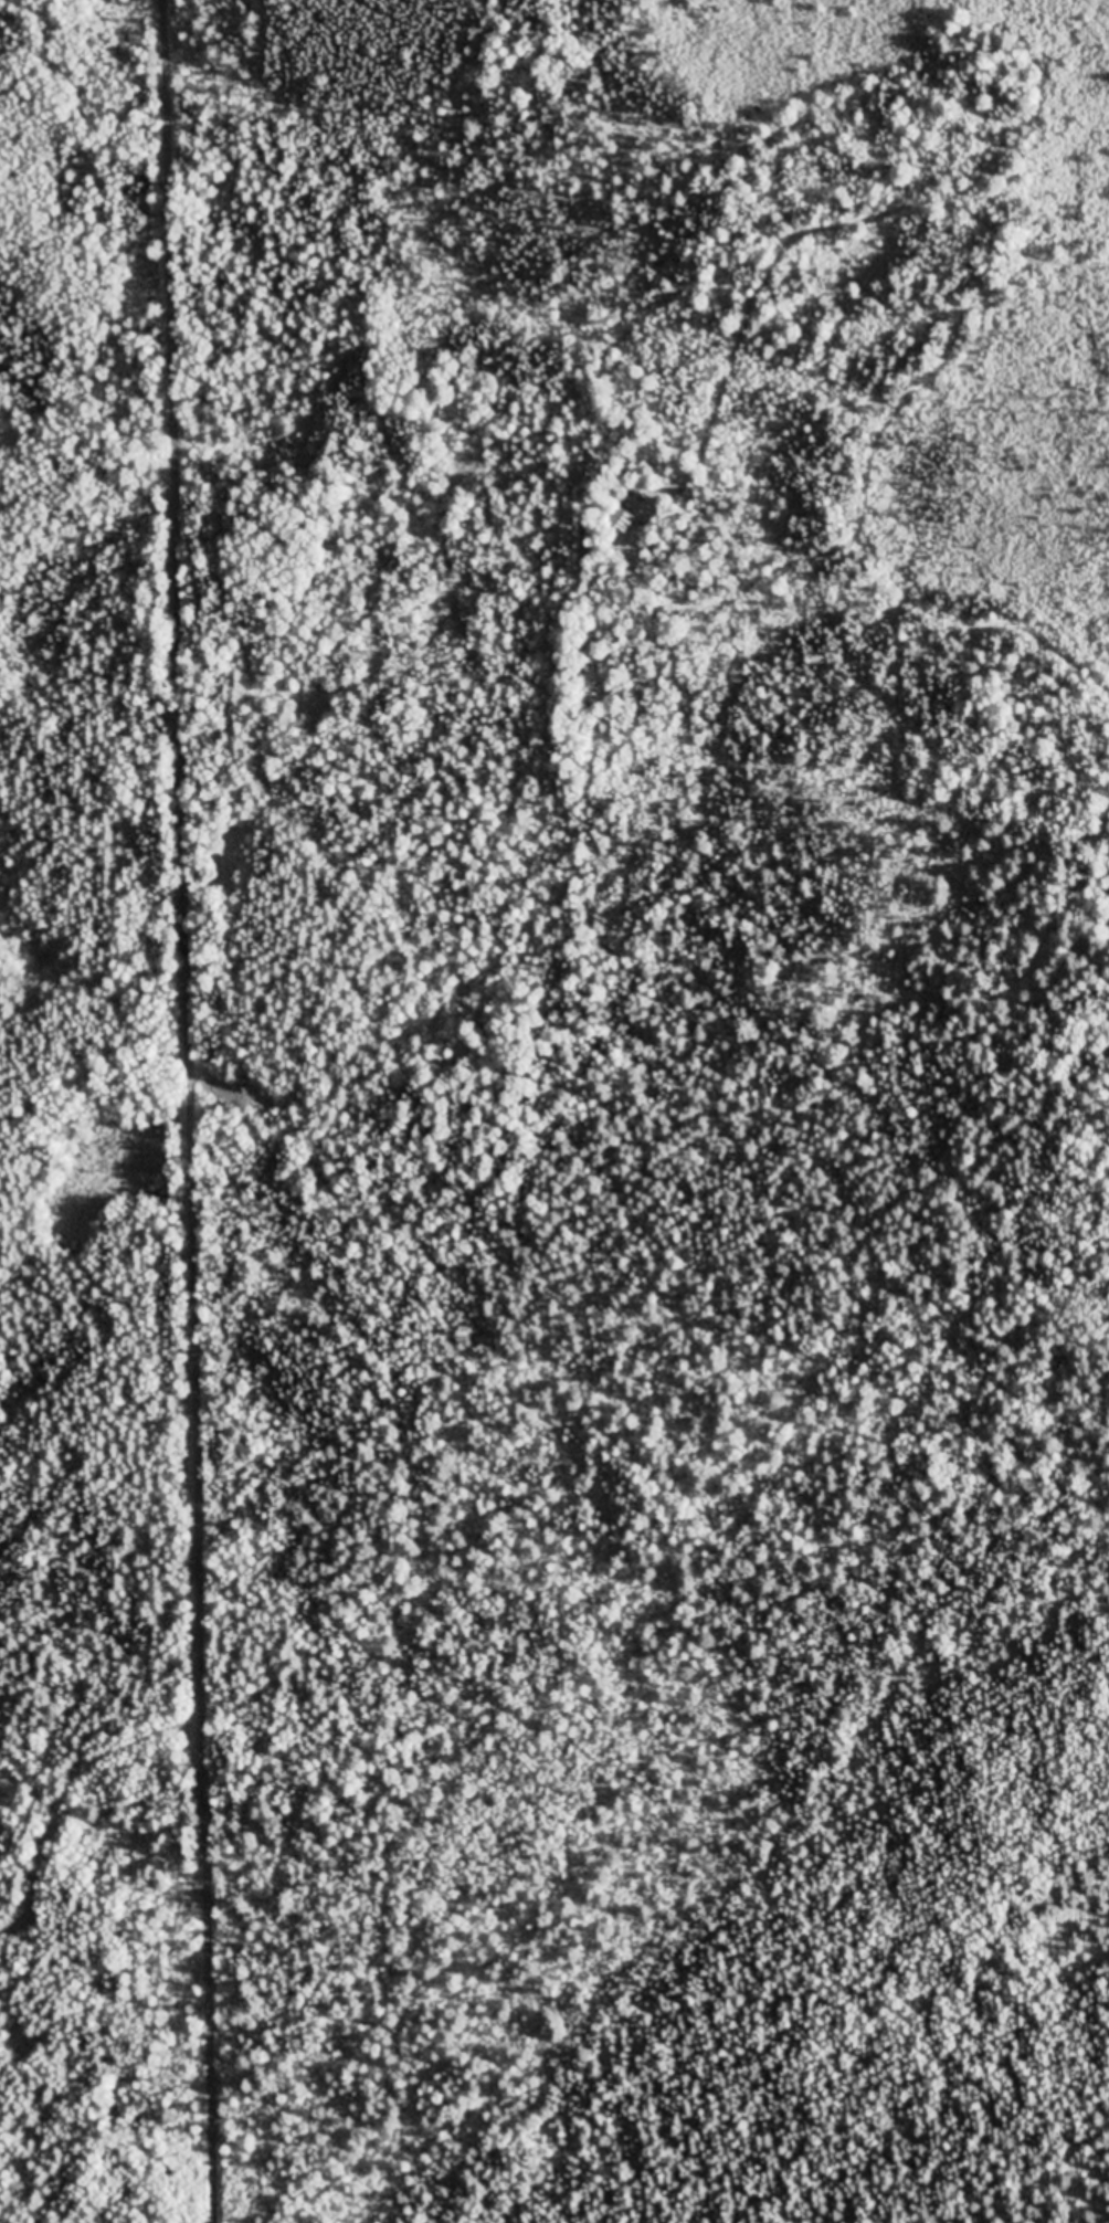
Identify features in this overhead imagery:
road: (1004, 391)
road: (830, 412)
building: (622, 520)

